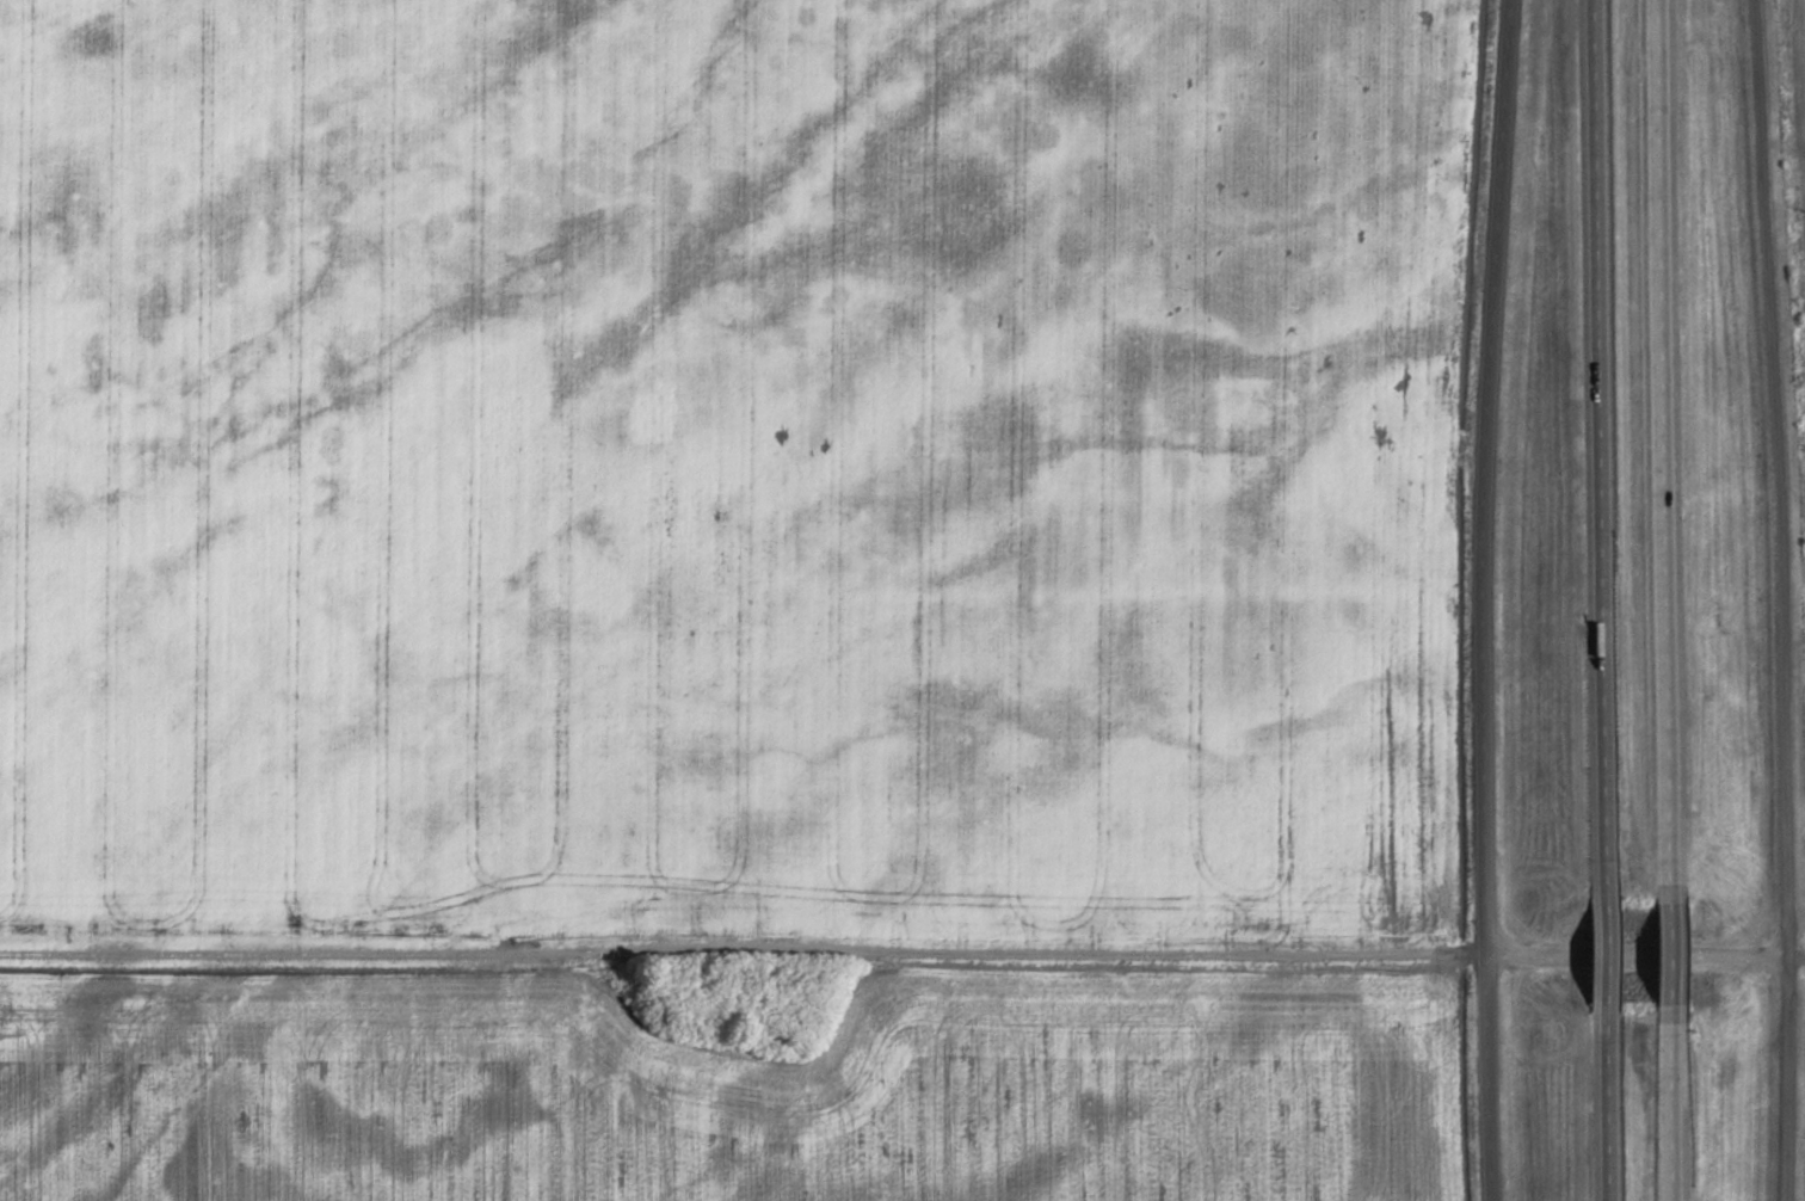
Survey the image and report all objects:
road: (1602, 449)
road: (1669, 451)
road: (1483, 599)
road: (1784, 599)
road: (1609, 950)
road: (1645, 953)
road: (1676, 956)
road: (1609, 1102)
road: (1675, 1105)

